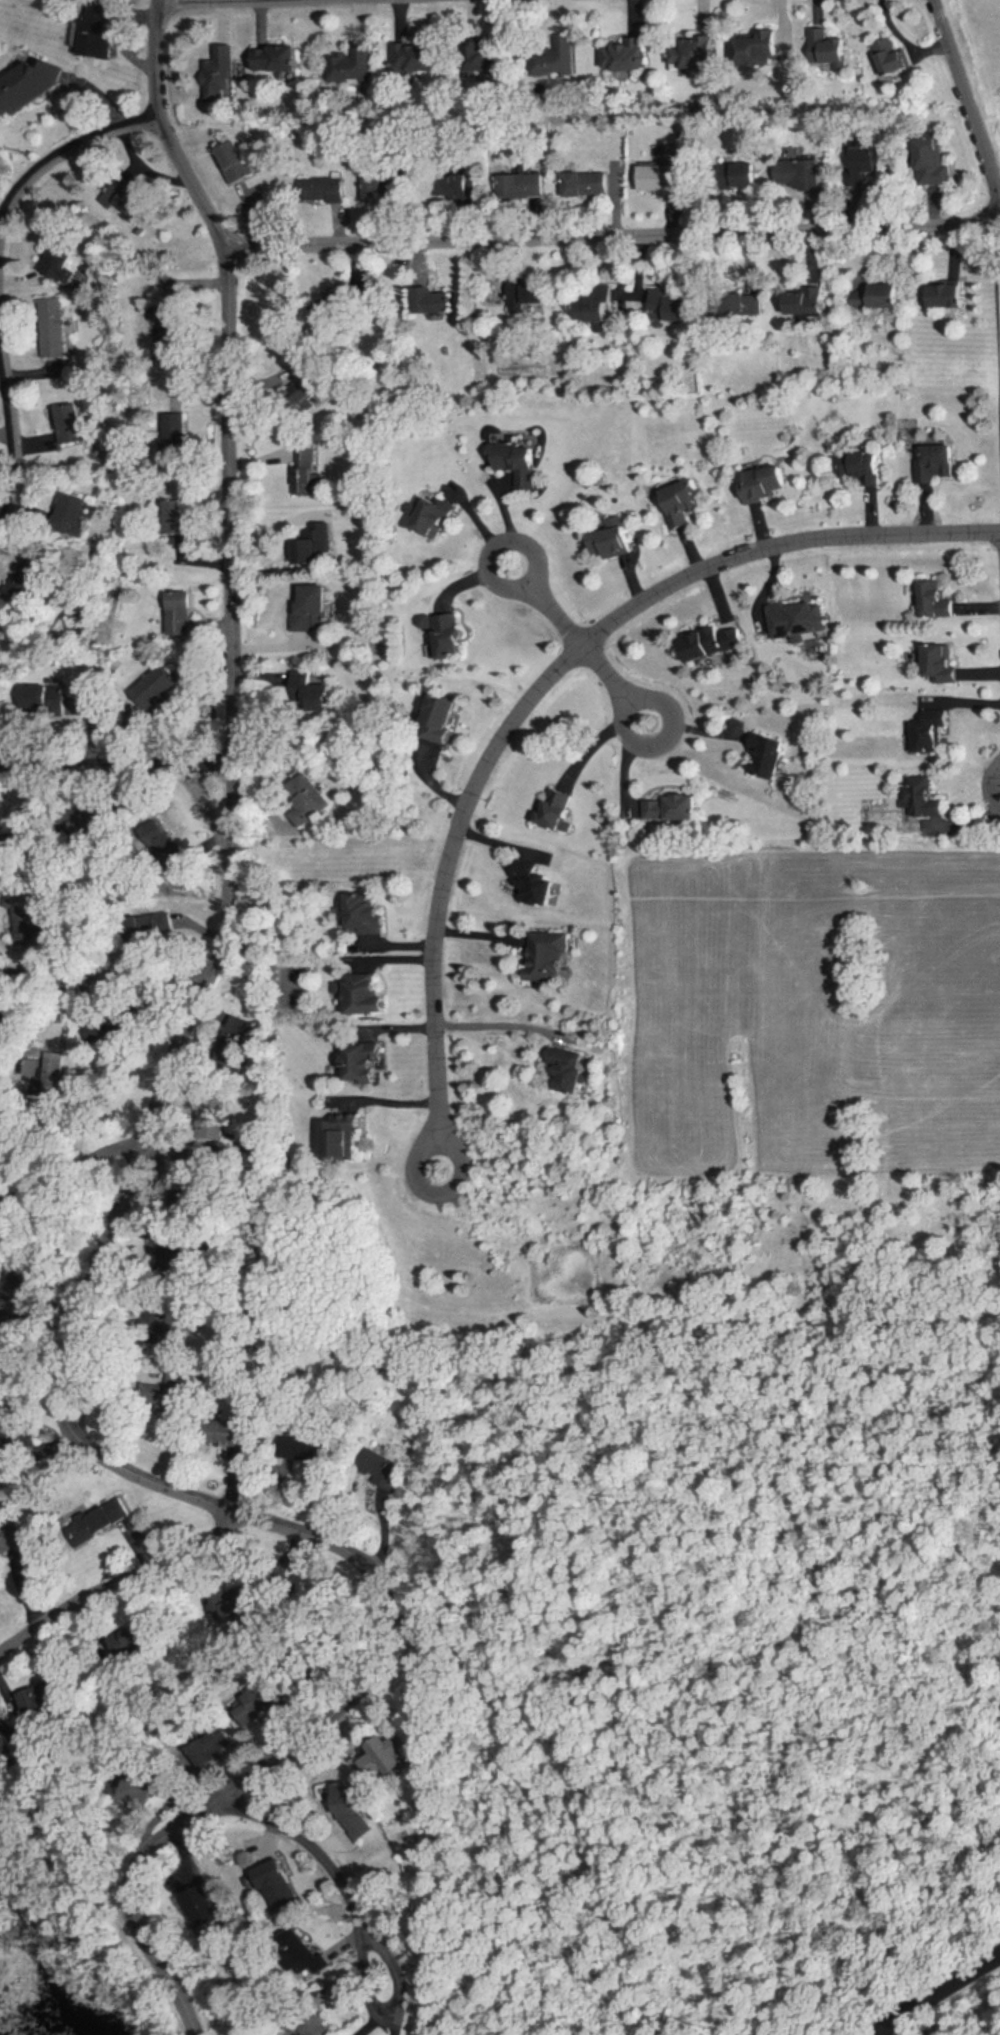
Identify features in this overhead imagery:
road: (197, 1)
park: (5, 12)
building: (100, 30)
park: (987, 37)
building: (759, 49)
building: (691, 52)
building: (837, 52)
building: (624, 54)
building: (892, 56)
building: (414, 58)
building: (278, 59)
building: (479, 61)
building: (350, 65)
building: (219, 75)
building: (28, 83)
road: (970, 92)
road: (58, 156)
building: (870, 159)
building: (235, 162)
building: (933, 162)
building: (743, 175)
building: (658, 178)
building: (586, 183)
building: (522, 184)
building: (321, 187)
building: (382, 189)
building: (131, 198)
road: (614, 235)
building: (63, 258)
building: (527, 292)
building: (949, 295)
building: (879, 297)
building: (431, 301)
building: (810, 302)
building: (669, 306)
building: (596, 308)
building: (163, 316)
building: (53, 328)
road: (13, 420)
building: (71, 423)
building: (520, 463)
building: (937, 463)
building: (861, 467)
building: (304, 470)
building: (767, 483)
building: (683, 503)
building: (71, 513)
building: (175, 516)
building: (436, 518)
road: (483, 523)
building: (613, 540)
building: (313, 546)
building: (940, 599)
road: (548, 605)
building: (311, 608)
building: (179, 611)
building: (797, 619)
building: (445, 637)
building: (712, 642)
building: (944, 663)
road: (552, 676)
road: (617, 681)
building: (307, 688)
building: (40, 697)
building: (442, 718)
building: (934, 734)
road: (600, 741)
building: (766, 755)
road: (116, 765)
road: (990, 787)
building: (925, 796)
building: (308, 799)
building: (556, 807)
building: (673, 808)
road: (226, 819)
building: (536, 879)
building: (361, 913)
building: (546, 956)
road: (103, 967)
building: (363, 995)
road: (493, 1021)
building: (364, 1062)
building: (572, 1079)
building: (342, 1141)
road: (73, 1168)
road: (128, 1184)
road: (435, 1194)
building: (165, 1392)
building: (232, 1434)
building: (303, 1449)
road: (39, 1460)
building: (374, 1466)
road: (121, 1579)
building: (43, 1697)
building: (259, 1700)
building: (375, 1761)
building: (348, 1811)
road: (330, 1862)
building: (277, 1885)
building: (202, 1907)
building: (300, 1953)
road: (935, 1990)
road: (388, 2007)
park: (959, 2010)

